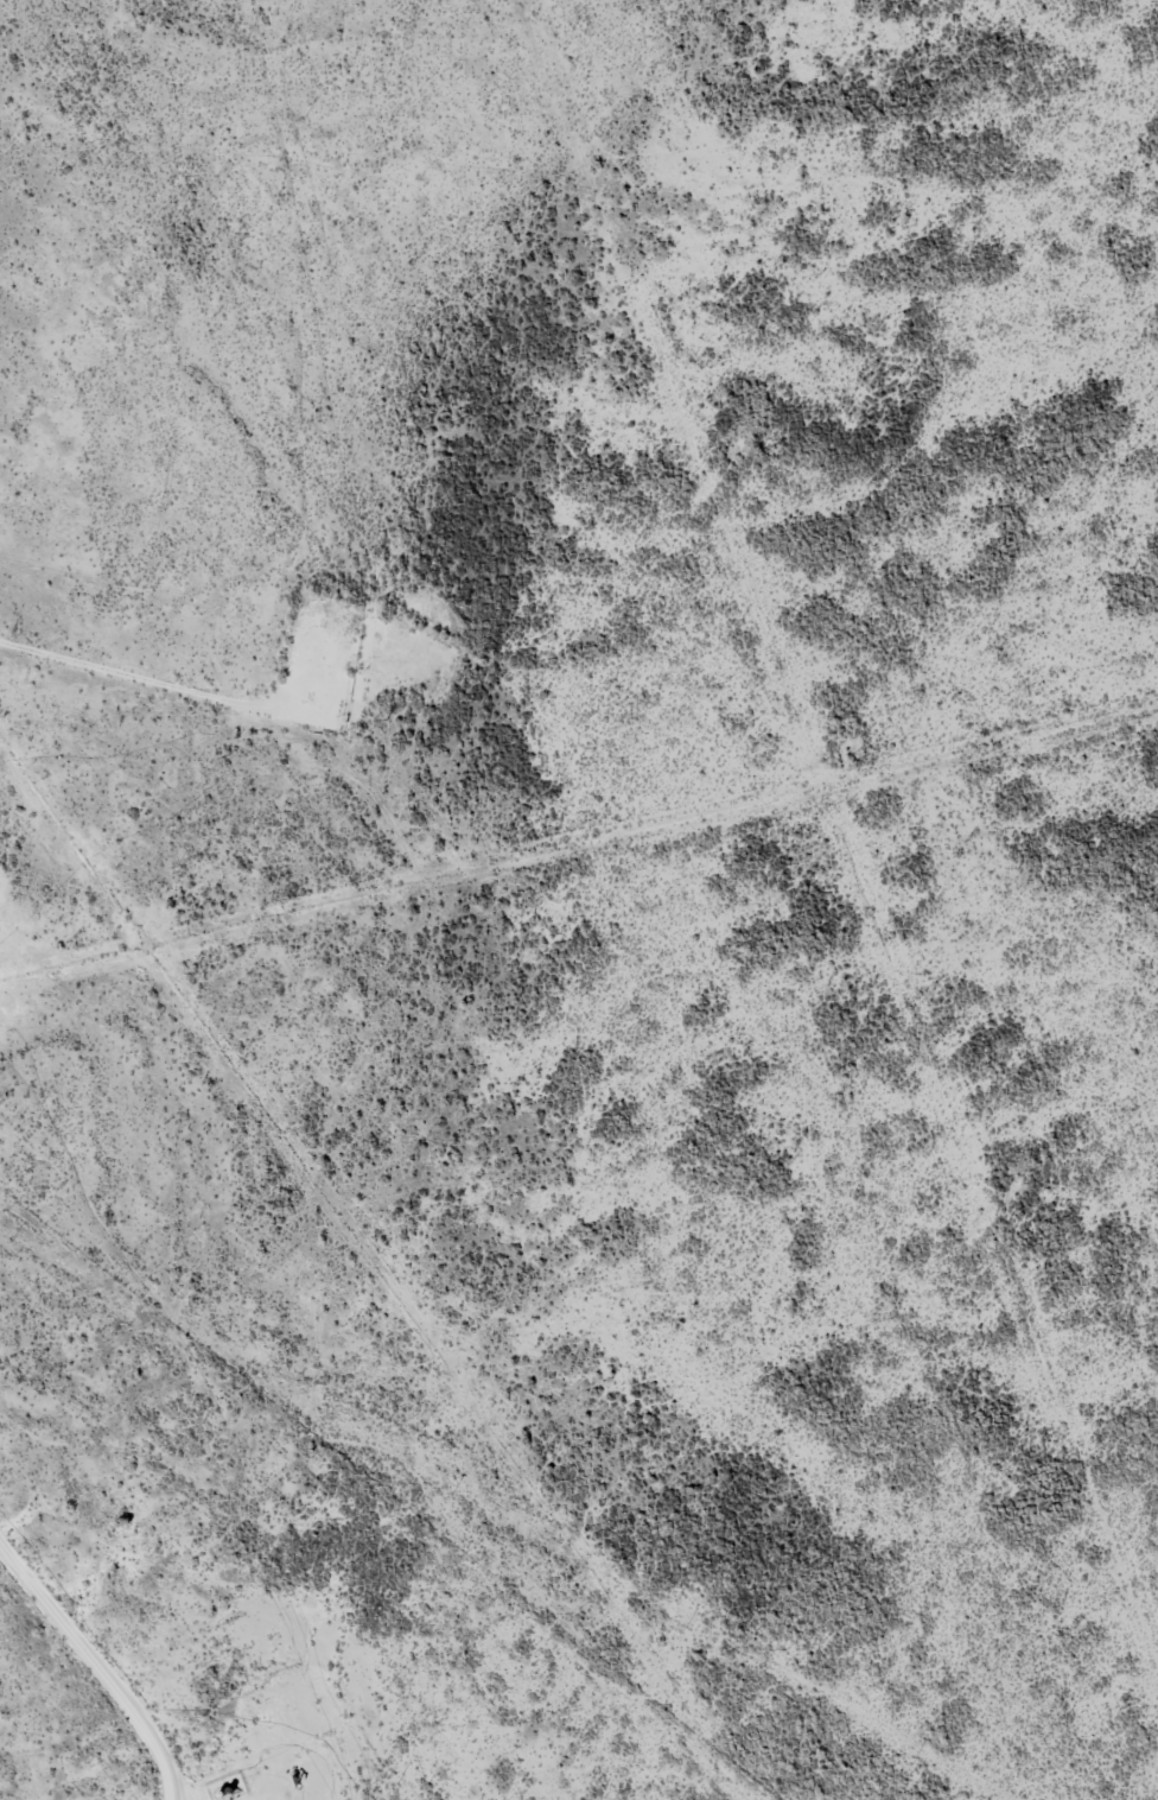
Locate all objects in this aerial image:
road: (88, 1673)

